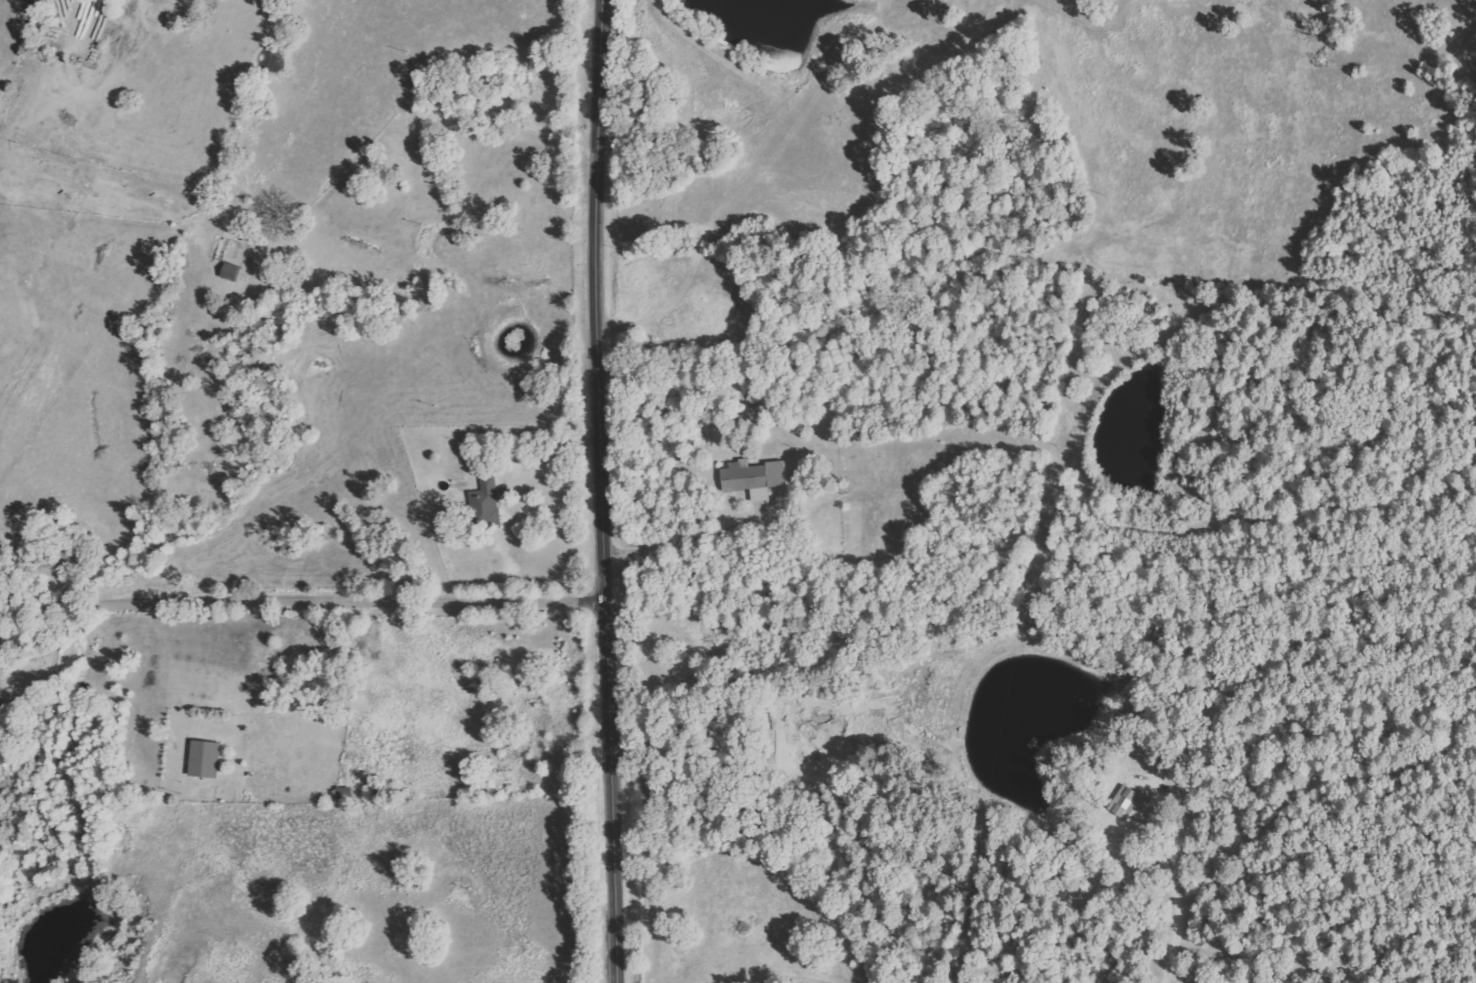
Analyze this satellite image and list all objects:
building: (754, 478)
road: (601, 491)
building: (487, 503)
road: (300, 601)
building: (205, 759)
building: (344, 794)
building: (1125, 802)

